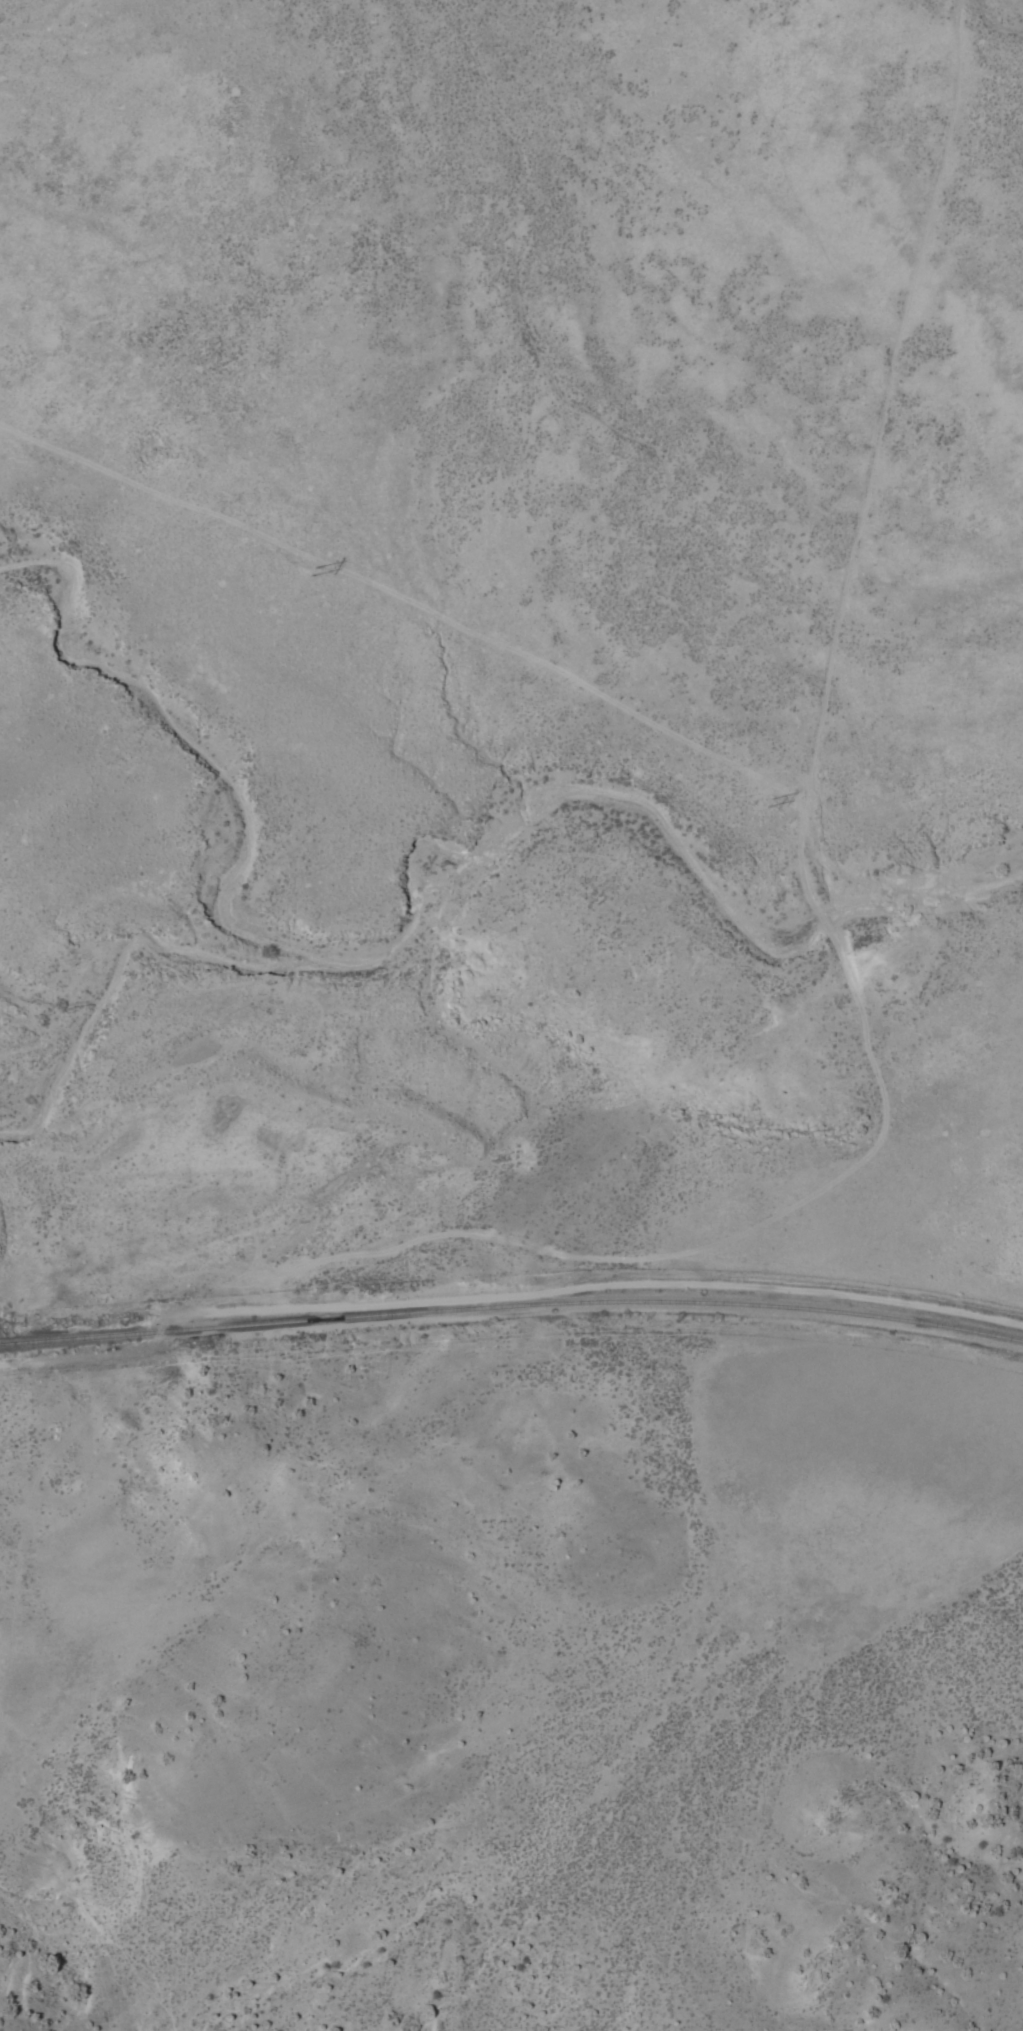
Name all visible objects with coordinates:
road: (615, 142)
road: (528, 229)
road: (830, 632)
road: (465, 1233)
railway: (512, 1305)

